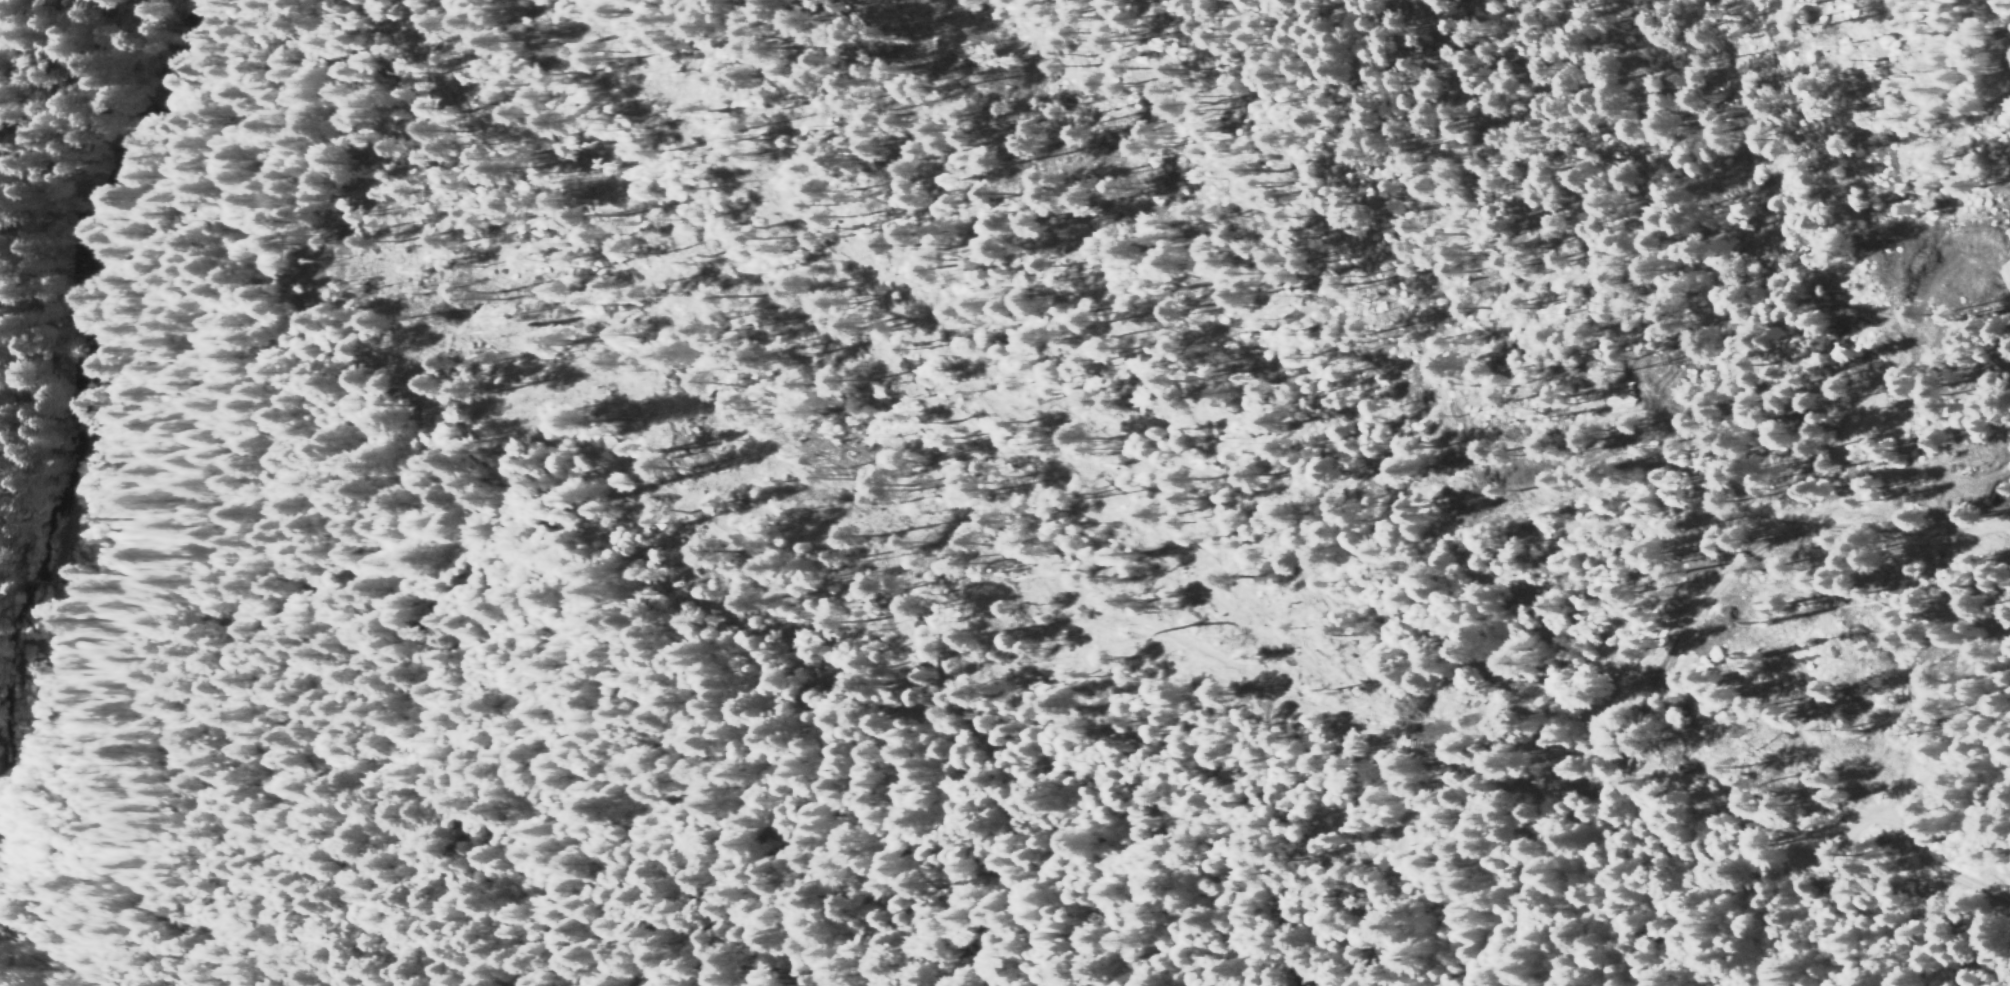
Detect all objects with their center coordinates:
river: (60, 305)

